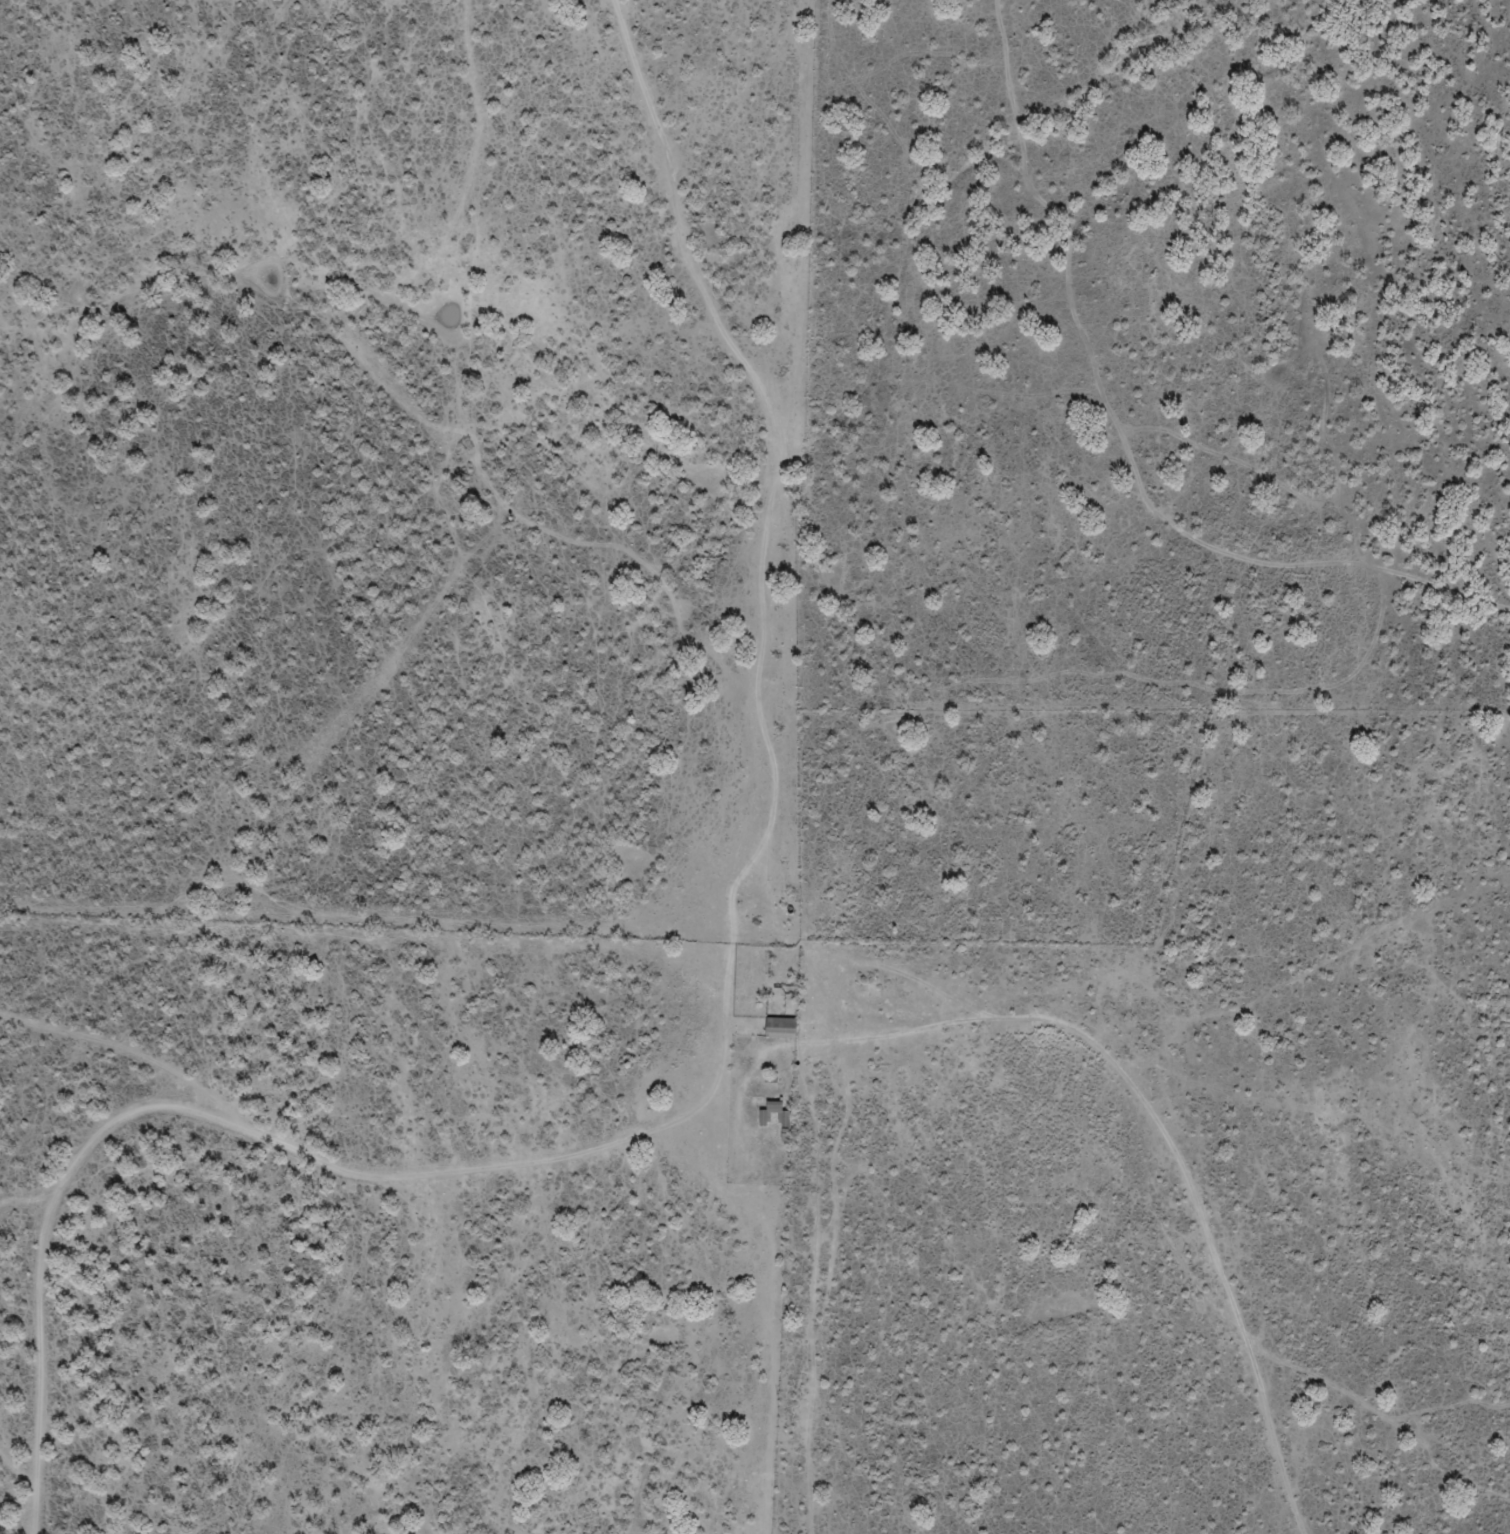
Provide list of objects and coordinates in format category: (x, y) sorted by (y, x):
road: (765, 1066)
building: (781, 1120)
road: (1182, 1139)

